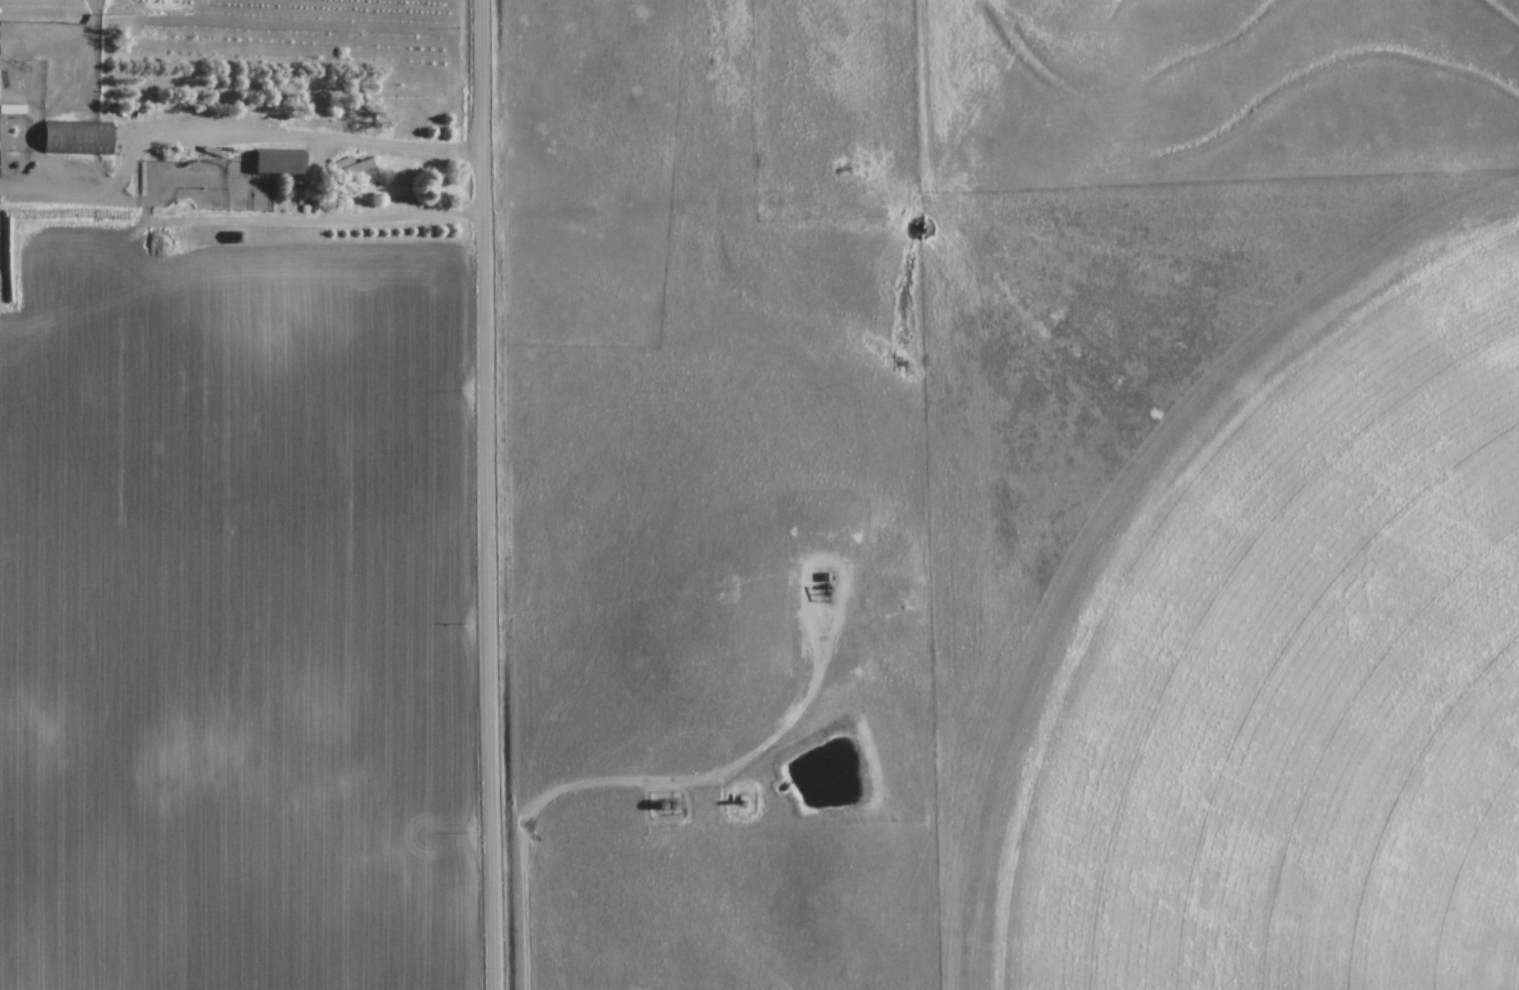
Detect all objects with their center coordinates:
building: (78, 136)
building: (281, 161)
road: (318, 181)
road: (488, 495)
road: (646, 787)

